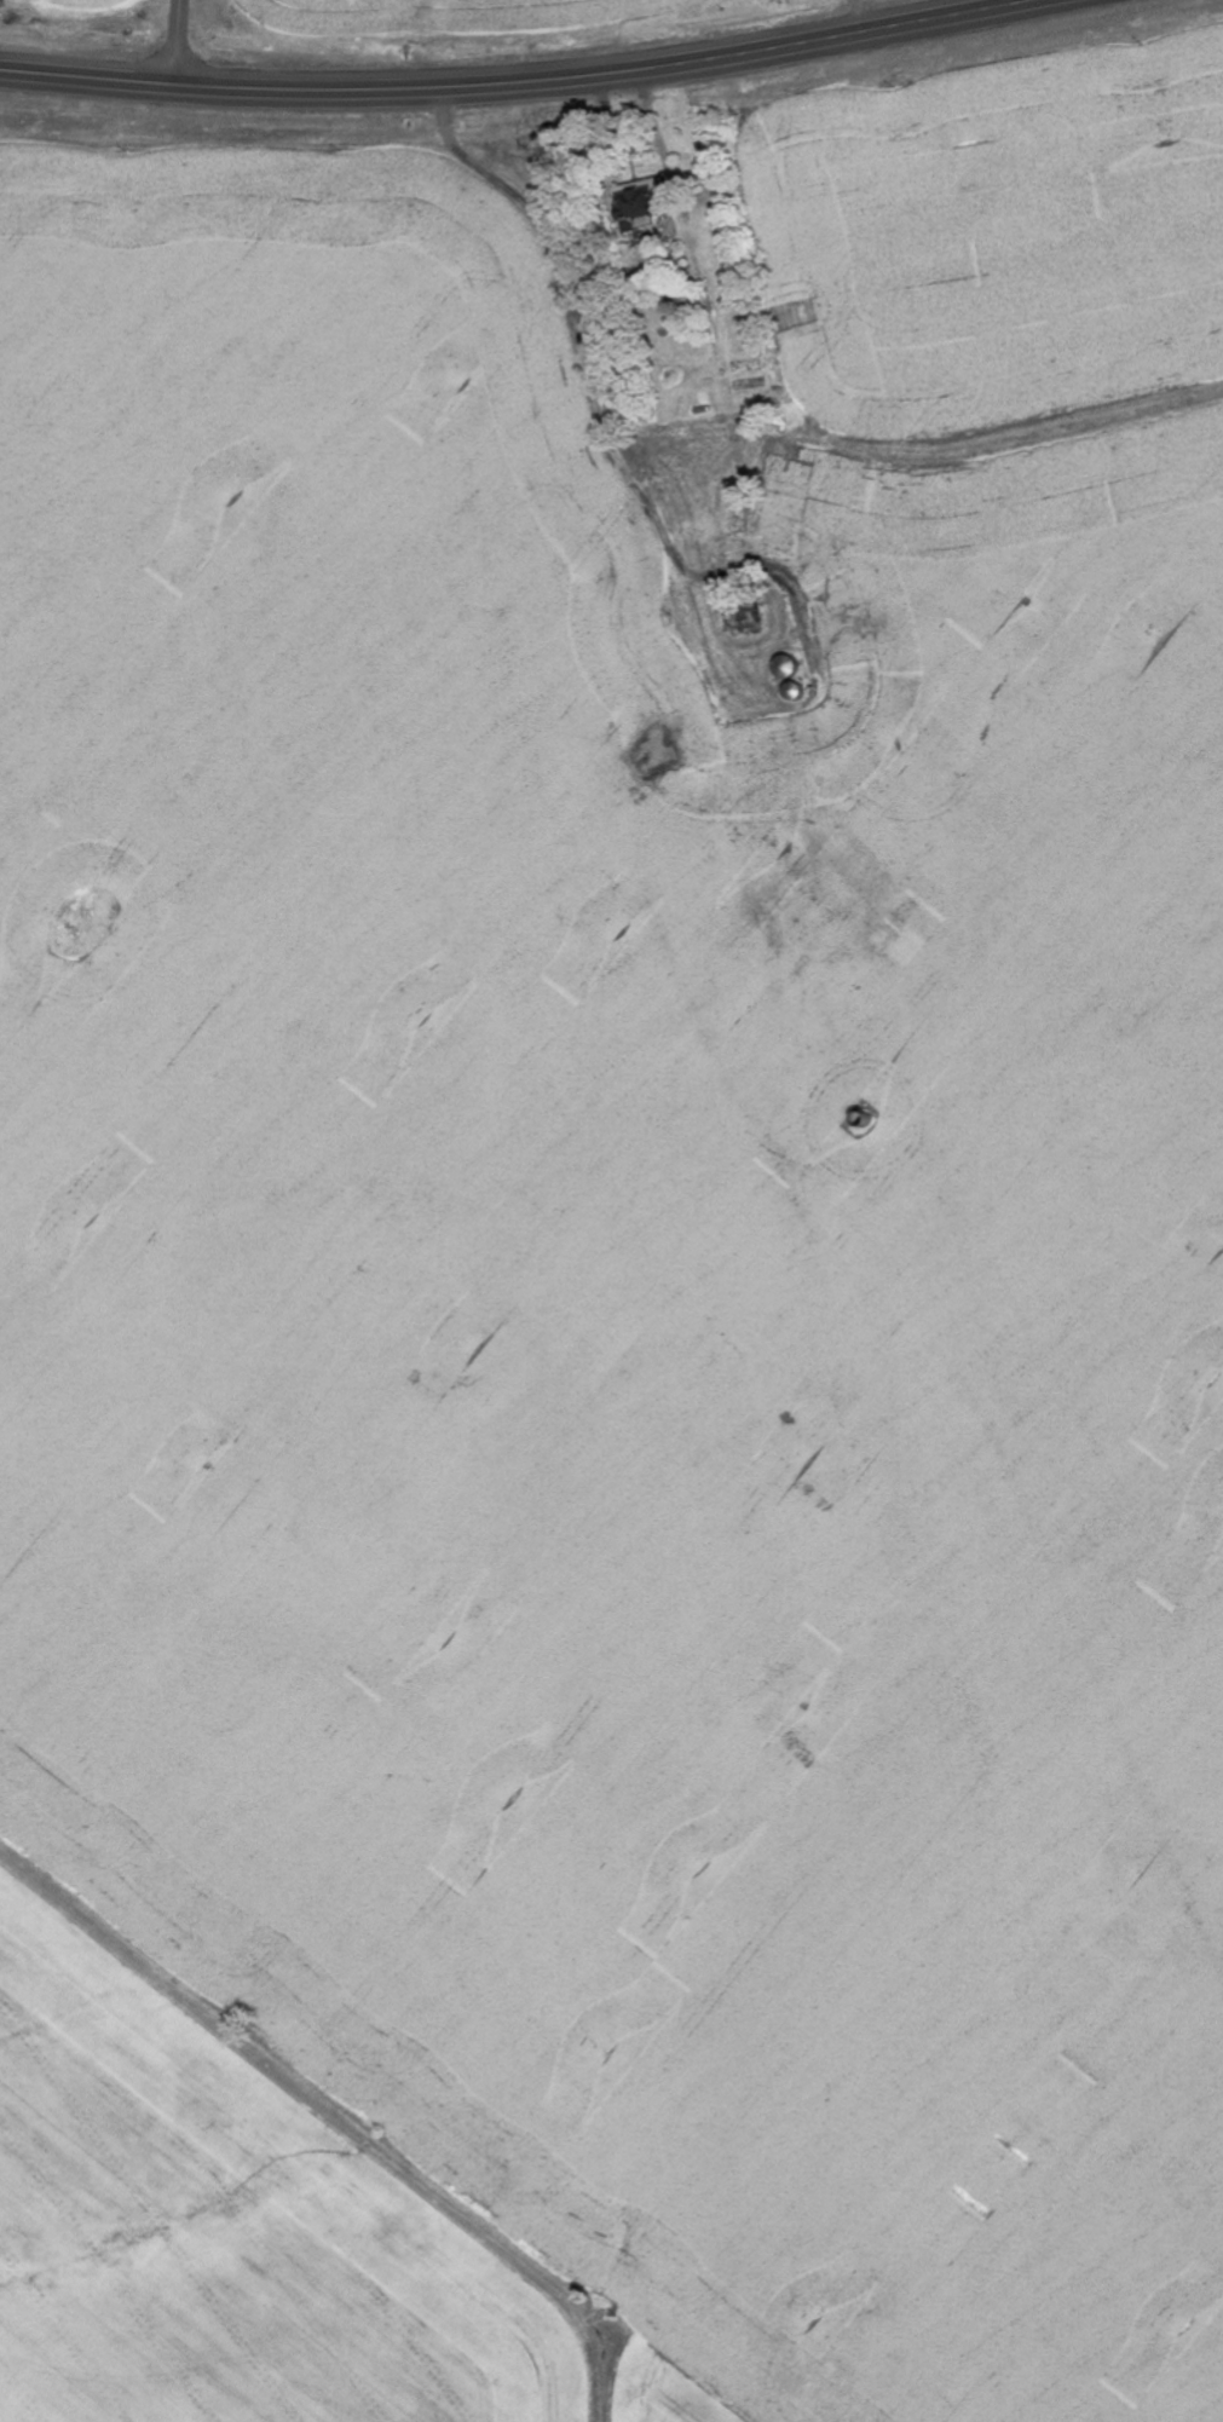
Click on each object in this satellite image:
road: (179, 27)
road: (445, 68)
park: (86, 925)

